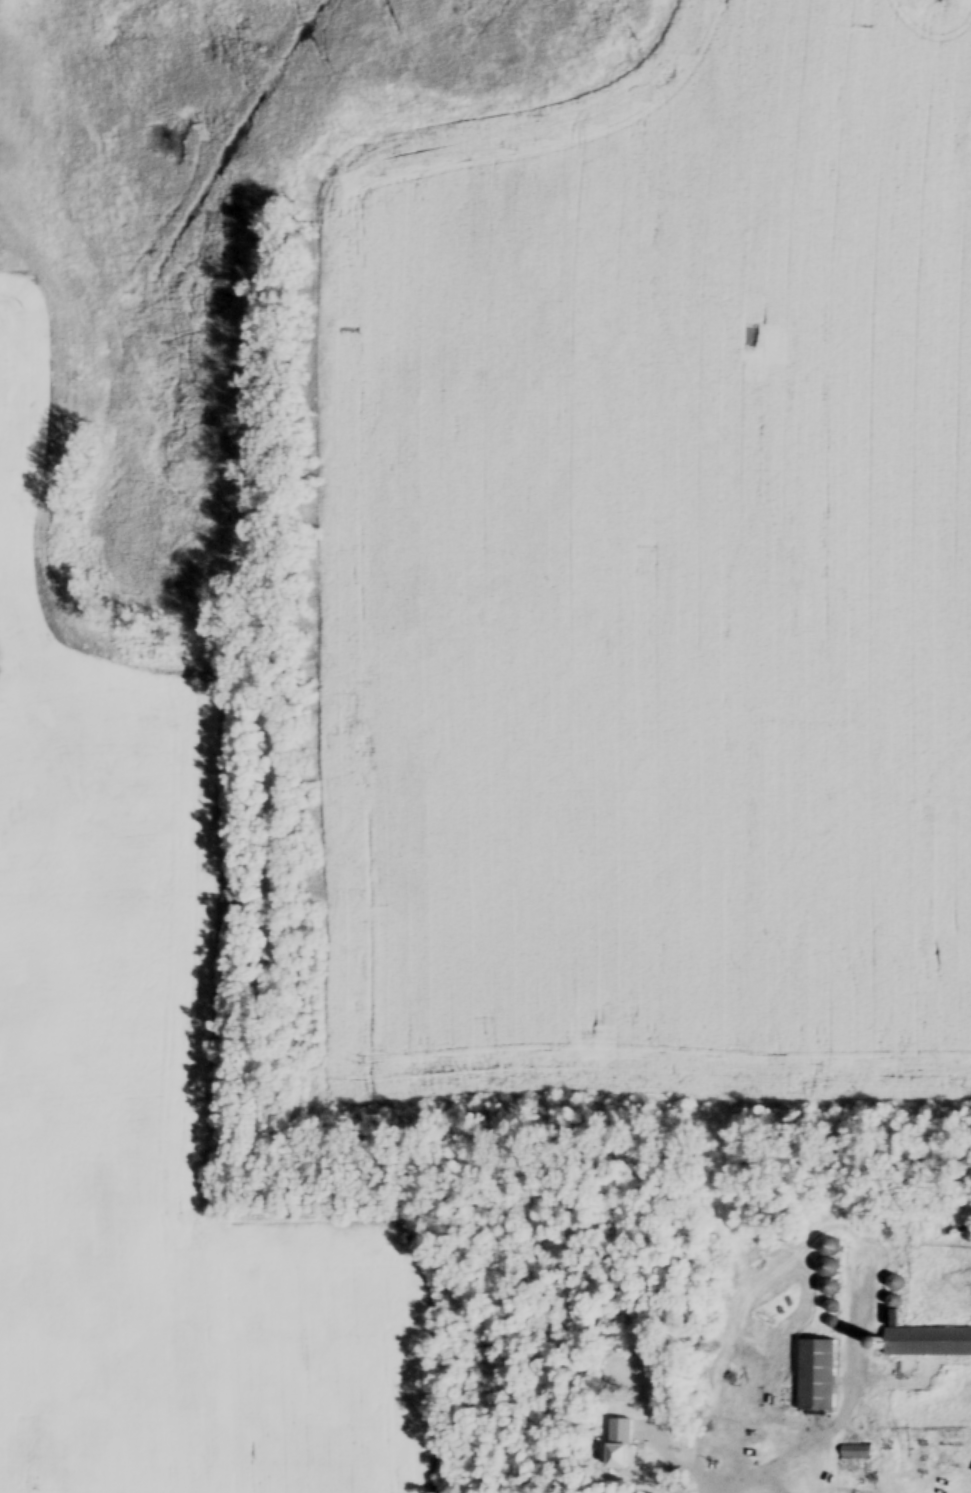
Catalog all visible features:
building: (924, 1342)
building: (816, 1376)
building: (623, 1443)
road: (797, 1445)
building: (855, 1452)

